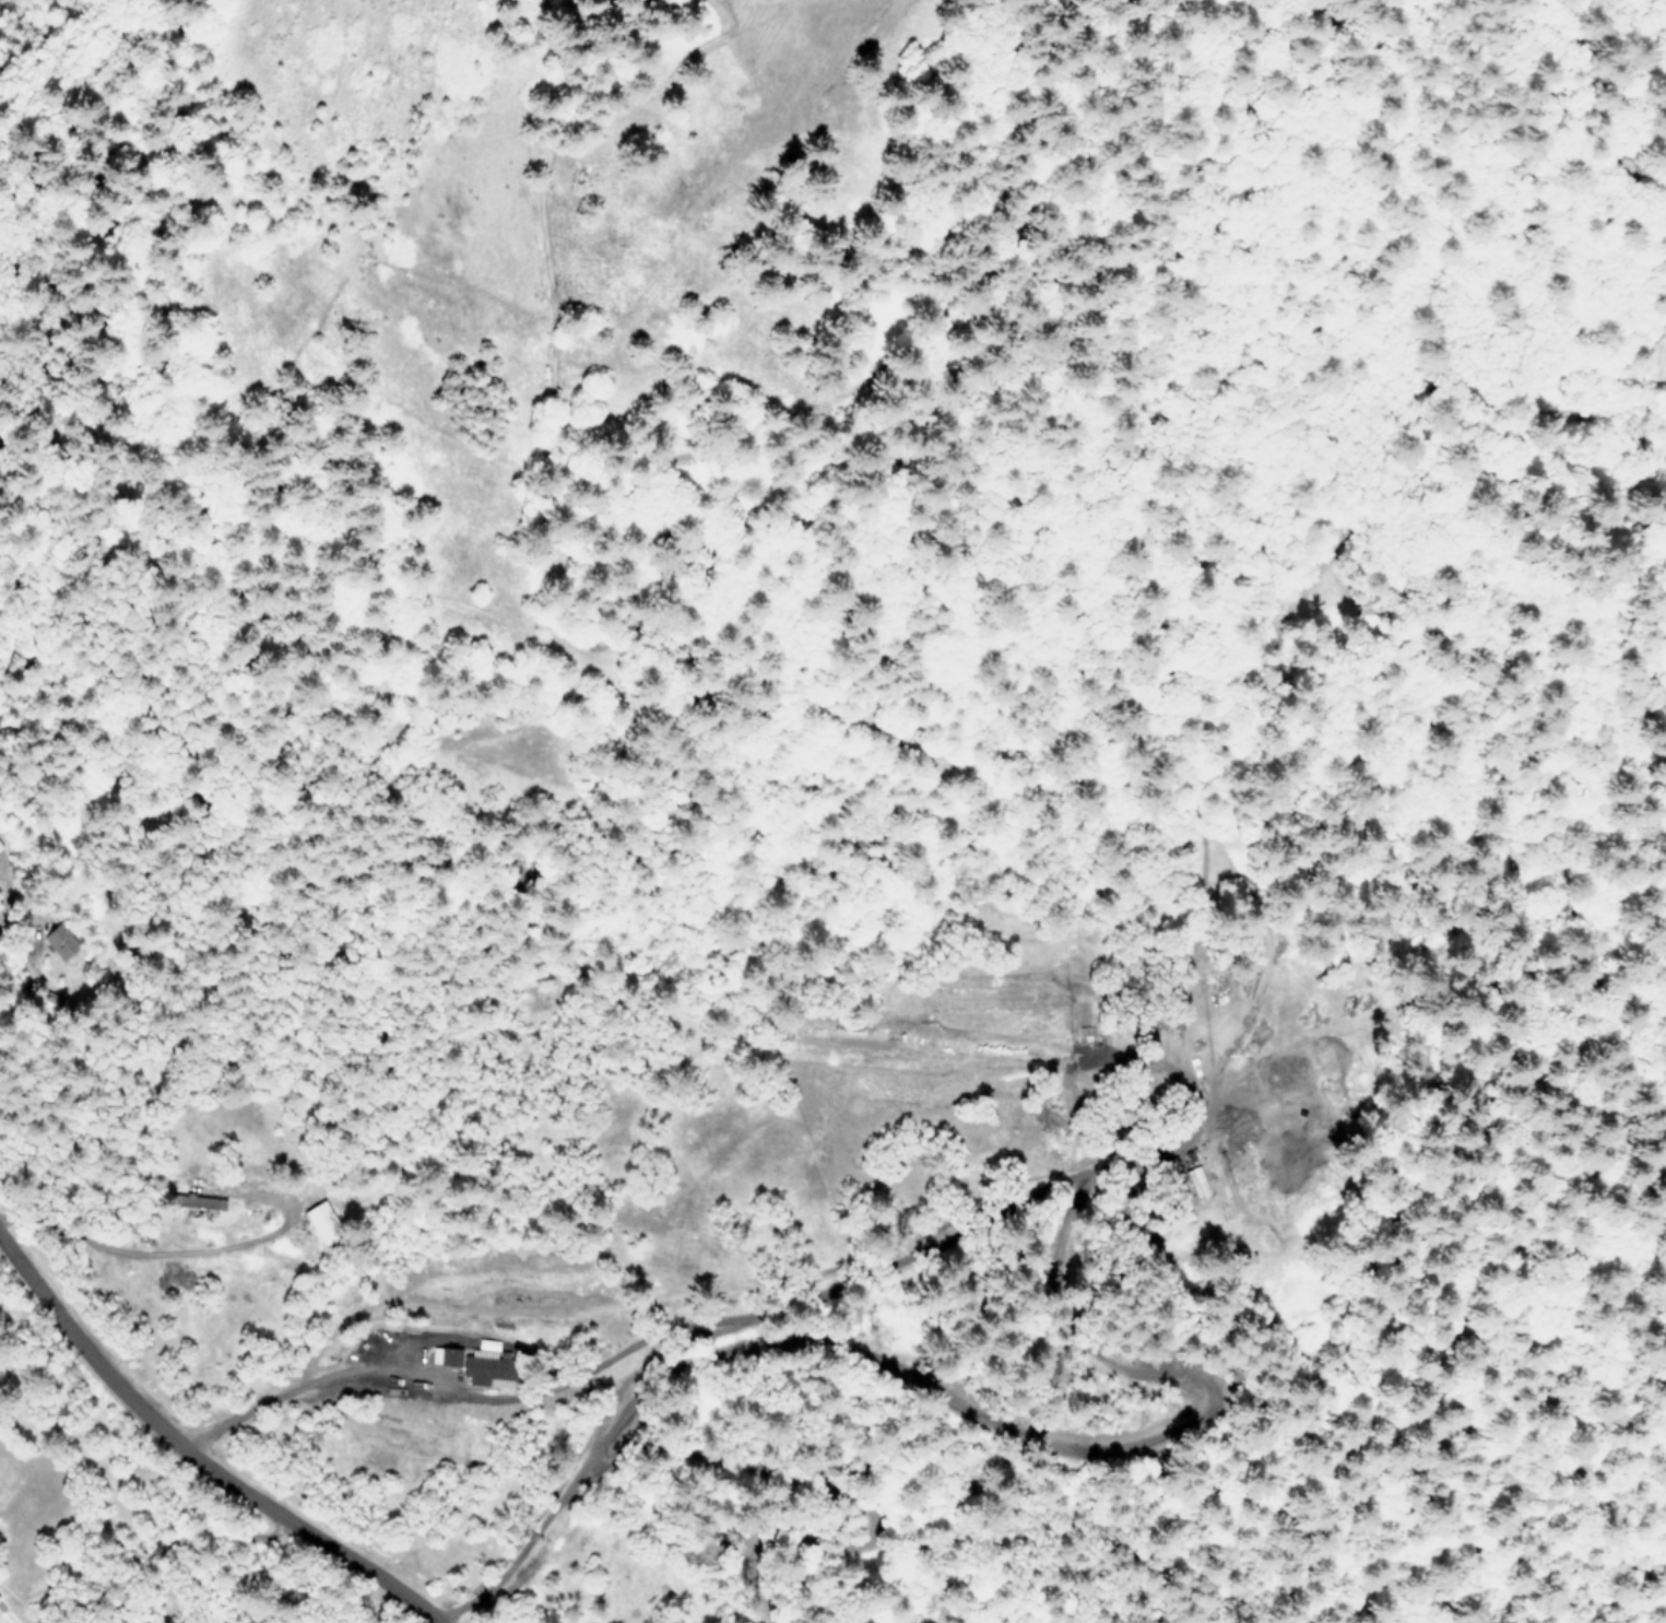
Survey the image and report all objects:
building: (1, 842)
building: (61, 944)
building: (196, 1203)
building: (324, 1226)
building: (480, 1368)
road: (191, 1455)
building: (1, 1606)
building: (1, 1610)

